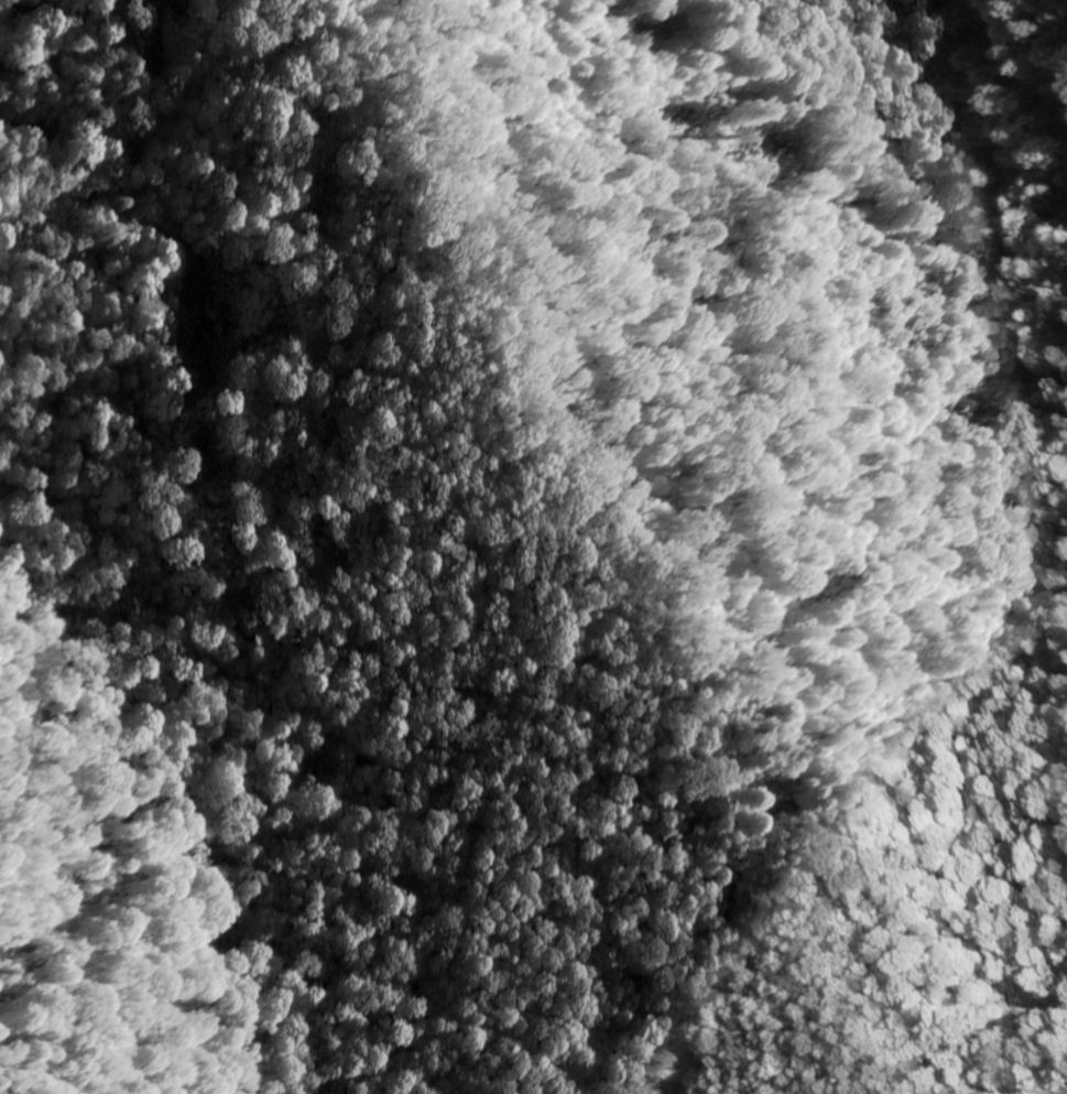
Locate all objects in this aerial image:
road: (802, 821)

